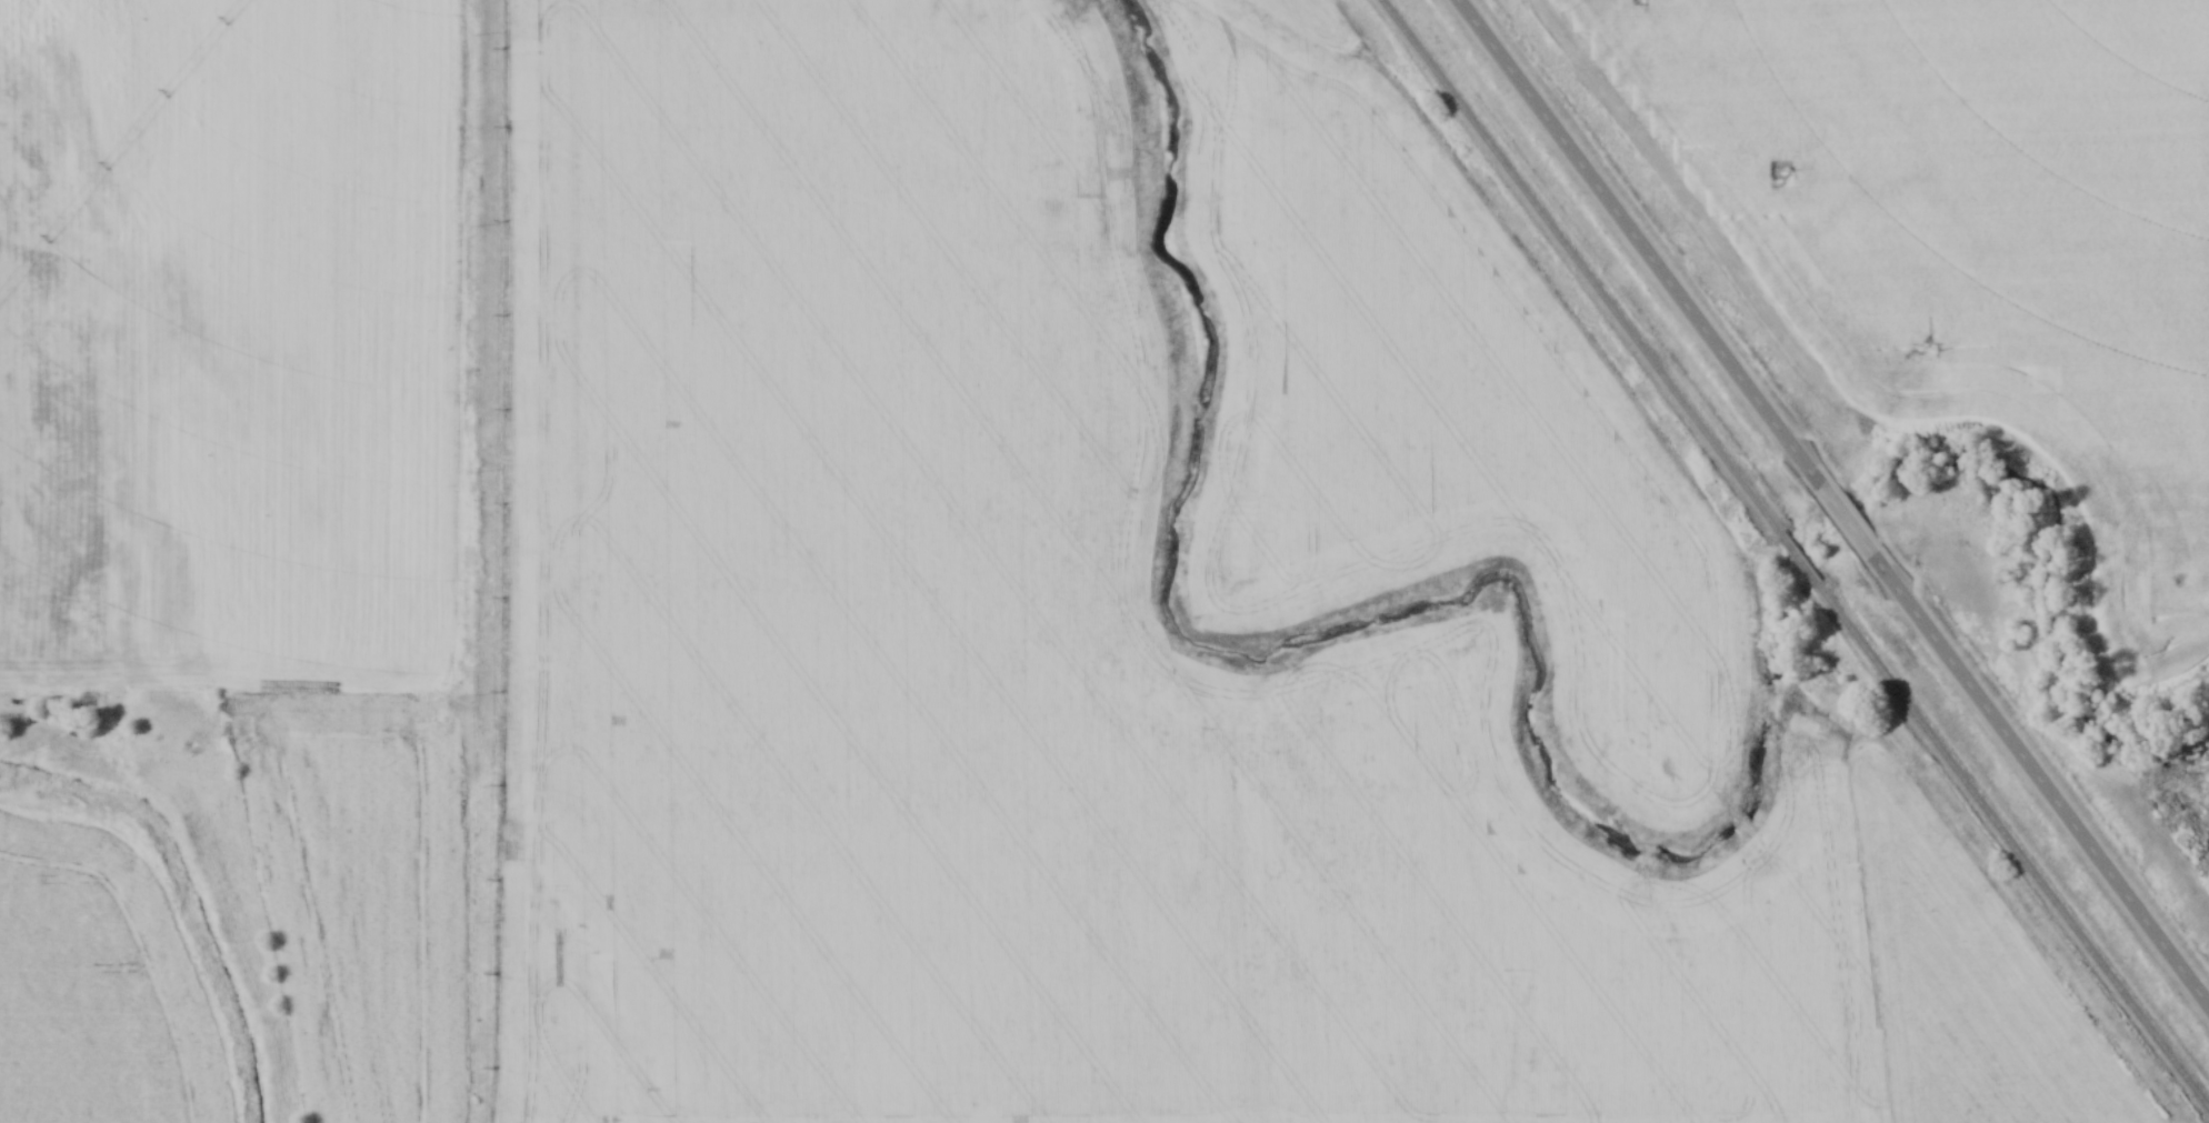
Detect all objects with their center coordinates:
road: (1628, 234)
railway: (1580, 268)
road: (1853, 530)
railway: (1800, 563)
building: (2179, 753)
road: (2053, 798)
railway: (2015, 848)

